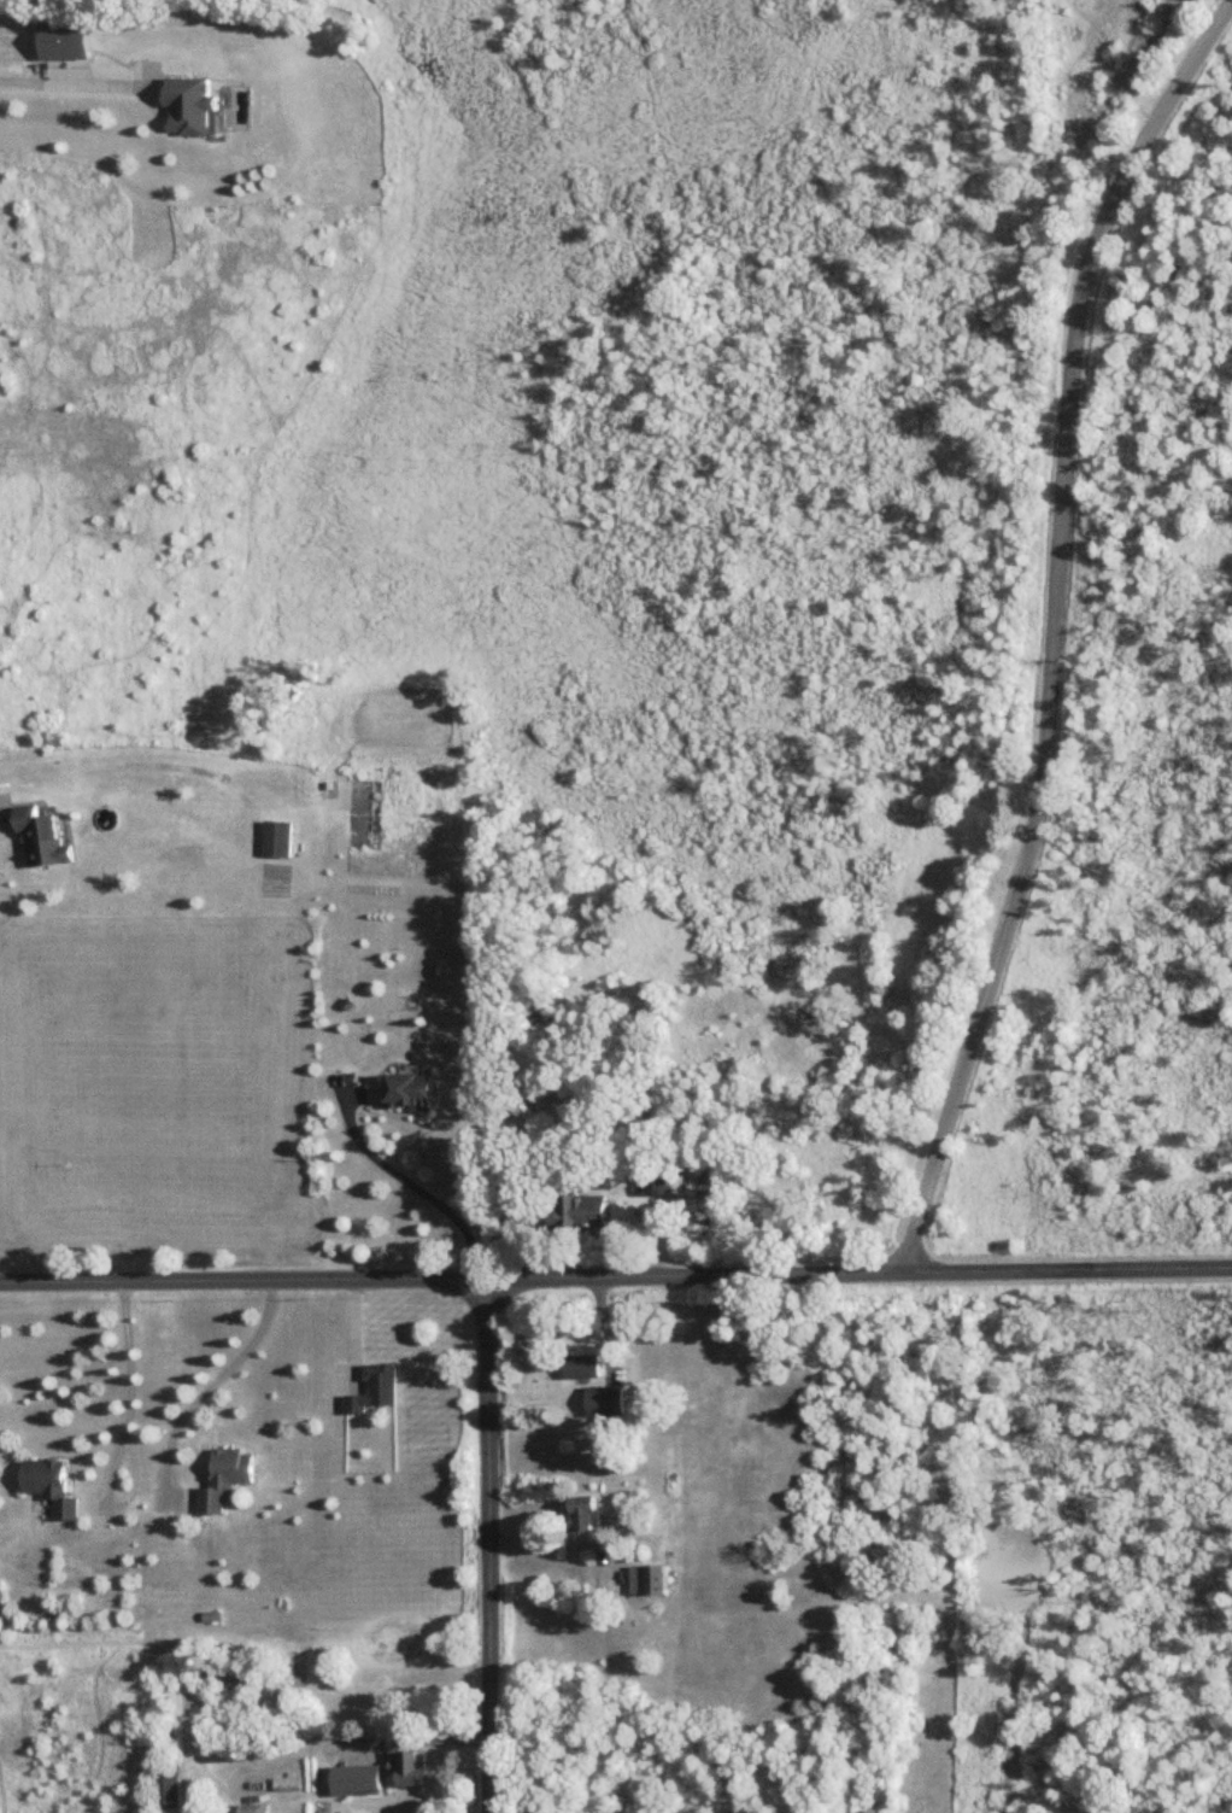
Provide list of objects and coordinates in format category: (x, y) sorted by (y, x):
building: (65, 40)
road: (64, 84)
building: (189, 106)
road: (1057, 628)
building: (276, 838)
building: (410, 1092)
road: (418, 1186)
building: (581, 1213)
road: (616, 1279)
building: (583, 1367)
road: (211, 1384)
building: (371, 1388)
building: (606, 1402)
road: (124, 1444)
building: (225, 1479)
building: (51, 1486)
building: (585, 1513)
road: (491, 1546)
building: (649, 1579)
road: (364, 1739)
building: (410, 1766)
building: (287, 1782)
building: (168, 1784)
building: (254, 1808)

